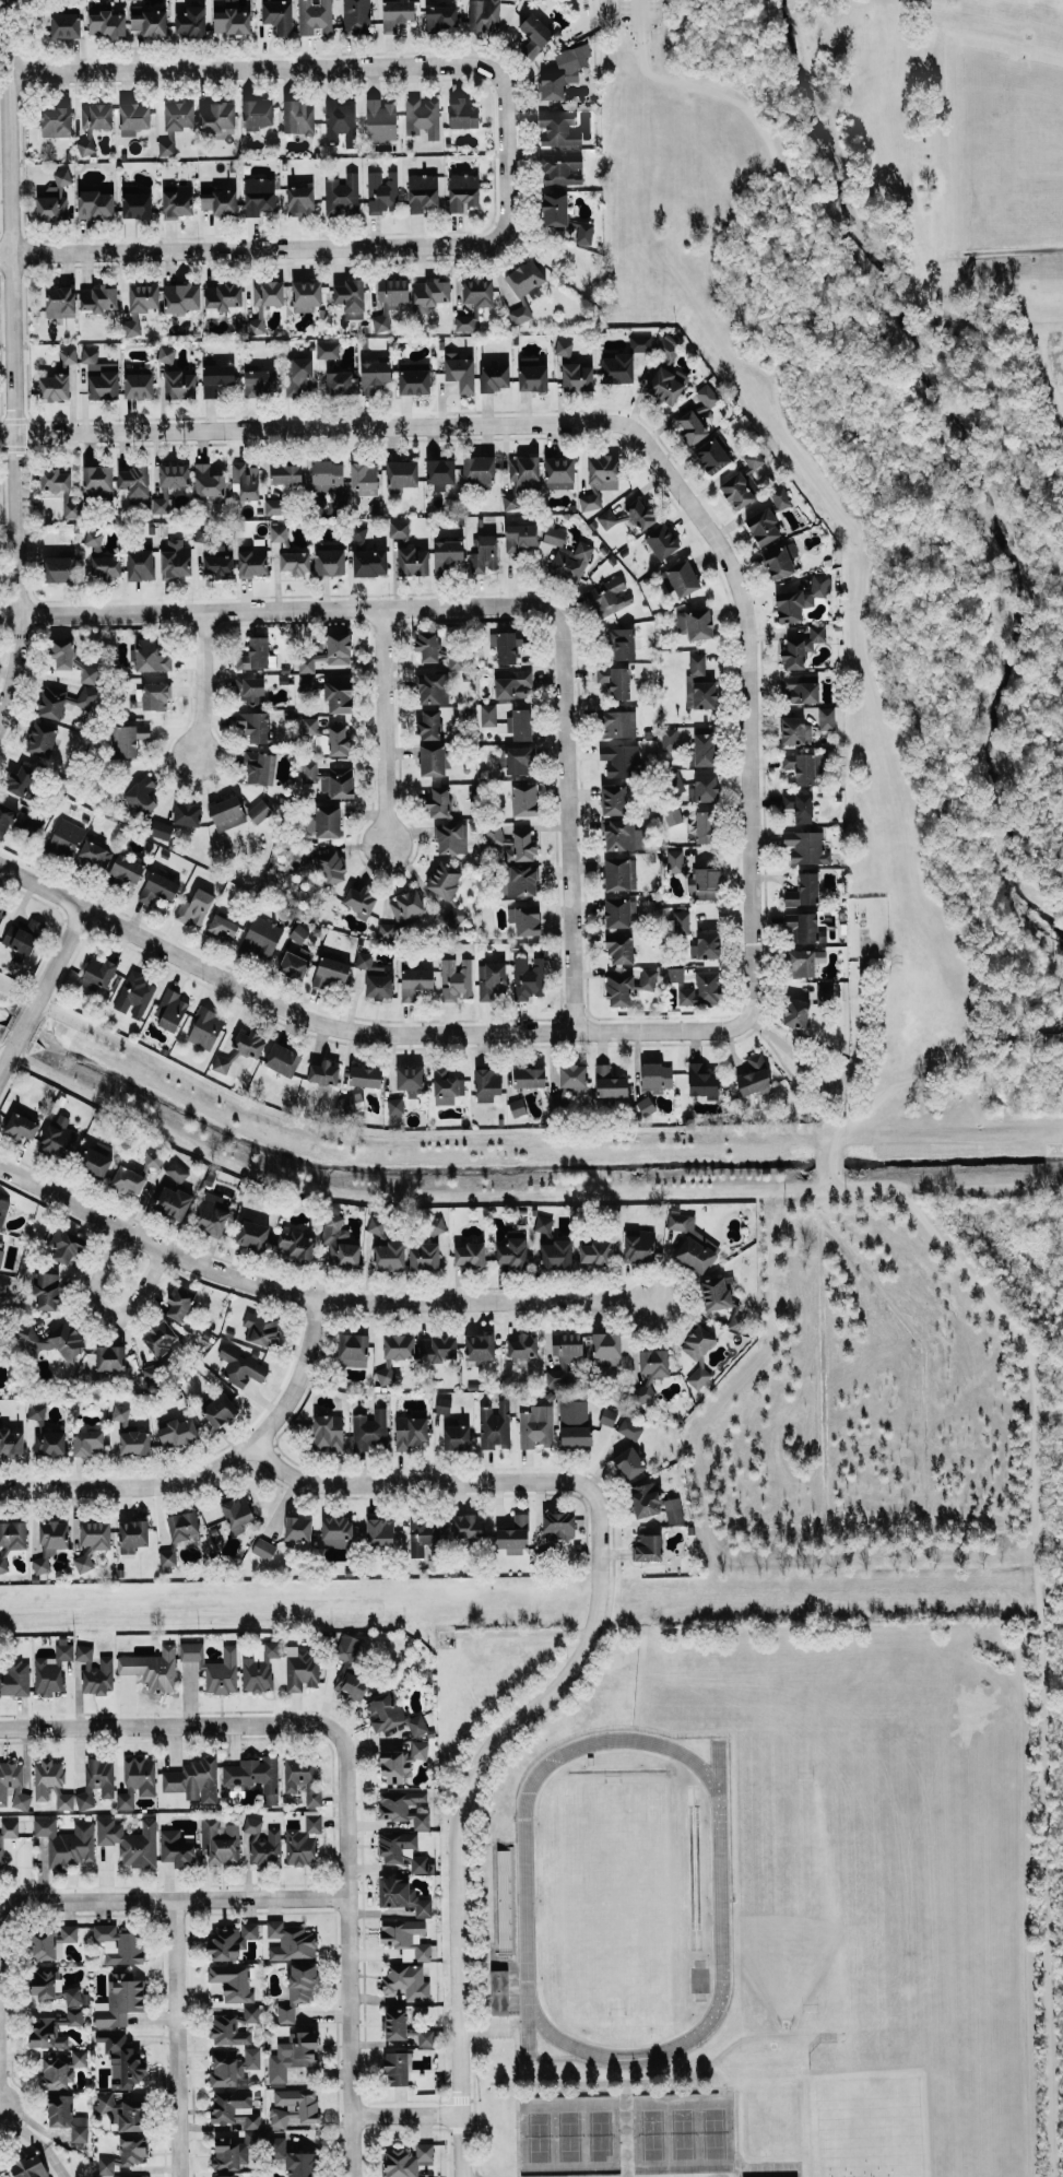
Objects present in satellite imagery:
parking lot: (637, 10)
road: (636, 11)
building: (397, 13)
building: (483, 14)
building: (277, 15)
building: (356, 15)
building: (314, 16)
building: (440, 17)
building: (231, 19)
building: (149, 21)
building: (191, 21)
building: (105, 23)
building: (64, 25)
building: (534, 35)
road: (331, 63)
building: (563, 74)
building: (462, 113)
building: (257, 114)
building: (216, 115)
building: (96, 116)
building: (298, 117)
building: (422, 117)
building: (133, 118)
building: (340, 120)
building: (380, 120)
building: (56, 121)
building: (175, 123)
building: (558, 128)
building: (85, 145)
building: (562, 168)
building: (462, 190)
building: (382, 191)
building: (422, 191)
building: (259, 195)
building: (342, 195)
building: (54, 199)
building: (176, 200)
building: (300, 200)
building: (218, 201)
building: (95, 203)
building: (137, 204)
road: (262, 248)
building: (524, 289)
building: (477, 291)
building: (430, 292)
building: (268, 293)
building: (306, 295)
building: (222, 297)
building: (351, 297)
building: (97, 298)
building: (181, 298)
building: (389, 299)
building: (59, 302)
building: (140, 304)
building: (257, 321)
building: (465, 321)
building: (640, 343)
building: (563, 348)
building: (664, 348)
building: (328, 350)
building: (166, 354)
building: (68, 355)
road: (17, 358)
building: (618, 368)
building: (460, 370)
building: (532, 374)
building: (300, 375)
building: (374, 375)
building: (101, 376)
building: (494, 376)
building: (577, 377)
building: (216, 378)
building: (259, 381)
building: (414, 381)
building: (340, 383)
building: (179, 384)
building: (665, 384)
building: (138, 385)
building: (54, 387)
building: (698, 415)
road: (311, 424)
building: (712, 456)
river: (969, 462)
building: (479, 470)
building: (440, 472)
building: (558, 472)
building: (285, 473)
building: (402, 473)
building: (174, 474)
building: (327, 475)
building: (364, 478)
building: (520, 479)
building: (600, 479)
road: (870, 479)
building: (245, 480)
building: (134, 481)
building: (208, 481)
building: (97, 482)
building: (59, 489)
building: (739, 490)
building: (780, 497)
building: (163, 502)
building: (273, 506)
building: (629, 516)
building: (763, 527)
building: (399, 529)
building: (358, 532)
road: (979, 532)
building: (279, 533)
building: (520, 537)
building: (661, 541)
building: (447, 554)
building: (484, 554)
building: (567, 555)
building: (102, 557)
building: (175, 558)
building: (220, 561)
building: (252, 561)
building: (413, 561)
building: (295, 562)
building: (330, 562)
building: (369, 562)
building: (140, 564)
building: (59, 568)
building: (681, 578)
building: (607, 596)
building: (800, 599)
road: (292, 608)
building: (695, 623)
building: (622, 644)
building: (427, 645)
building: (504, 646)
building: (62, 652)
building: (328, 652)
building: (255, 654)
building: (150, 656)
building: (456, 660)
building: (88, 674)
building: (614, 681)
building: (307, 682)
building: (512, 683)
building: (699, 683)
road: (203, 684)
building: (250, 689)
building: (432, 689)
building: (799, 689)
building: (155, 695)
building: (339, 695)
road: (747, 695)
building: (86, 697)
building: (51, 703)
building: (487, 714)
building: (826, 718)
building: (617, 722)
building: (310, 723)
road: (386, 723)
building: (429, 723)
building: (520, 723)
building: (255, 725)
building: (794, 728)
building: (42, 739)
building: (130, 739)
building: (669, 739)
building: (338, 740)
building: (704, 749)
building: (432, 760)
building: (519, 760)
building: (621, 760)
building: (259, 766)
building: (804, 766)
building: (21, 779)
building: (330, 779)
building: (704, 788)
building: (142, 795)
building: (523, 799)
building: (613, 799)
building: (438, 801)
building: (800, 805)
building: (259, 811)
building: (187, 813)
building: (226, 813)
road: (567, 815)
building: (672, 816)
building: (5, 817)
building: (324, 822)
building: (705, 826)
building: (162, 829)
building: (623, 835)
building: (64, 837)
building: (451, 837)
building: (515, 844)
building: (806, 847)
building: (93, 856)
building: (297, 858)
building: (675, 859)
building: (330, 867)
building: (127, 870)
building: (619, 873)
building: (445, 879)
building: (517, 881)
building: (705, 883)
building: (158, 887)
building: (803, 891)
building: (361, 901)
building: (194, 907)
building: (618, 911)
building: (402, 913)
building: (1, 914)
building: (524, 919)
building: (681, 921)
building: (801, 927)
building: (222, 929)
building: (261, 938)
building: (22, 939)
building: (706, 945)
building: (619, 949)
road: (58, 956)
building: (803, 962)
building: (295, 963)
building: (97, 972)
building: (330, 972)
building: (675, 974)
building: (375, 977)
building: (528, 977)
building: (456, 978)
building: (492, 980)
building: (415, 981)
building: (626, 987)
building: (702, 990)
building: (824, 991)
building: (134, 995)
building: (172, 1010)
building: (795, 1012)
road: (23, 1024)
building: (205, 1028)
road: (355, 1029)
road: (979, 1032)
road: (1026, 1035)
building: (239, 1049)
road: (7, 1057)
building: (282, 1059)
building: (754, 1075)
building: (365, 1076)
building: (529, 1076)
building: (655, 1076)
building: (574, 1078)
road: (845, 1078)
building: (410, 1080)
building: (701, 1080)
building: (446, 1082)
building: (609, 1082)
building: (487, 1083)
road: (865, 1093)
building: (394, 1105)
building: (646, 1105)
building: (516, 1107)
building: (20, 1126)
building: (58, 1137)
building: (152, 1160)
building: (95, 1163)
building: (176, 1170)
building: (128, 1179)
road: (978, 1185)
building: (173, 1202)
building: (3, 1210)
building: (212, 1213)
building: (543, 1223)
building: (376, 1224)
building: (436, 1225)
building: (251, 1234)
building: (339, 1239)
building: (692, 1244)
building: (64, 1245)
building: (295, 1245)
building: (639, 1245)
building: (512, 1252)
building: (594, 1252)
building: (556, 1254)
building: (1, 1255)
building: (469, 1255)
building: (389, 1256)
building: (424, 1256)
building: (4, 1287)
building: (46, 1291)
building: (717, 1292)
road: (315, 1296)
building: (178, 1304)
road: (106, 1315)
building: (260, 1329)
building: (160, 1338)
building: (52, 1341)
building: (523, 1345)
building: (480, 1346)
building: (437, 1348)
building: (606, 1349)
building: (353, 1350)
building: (698, 1353)
building: (394, 1354)
building: (564, 1356)
building: (110, 1357)
building: (240, 1367)
building: (151, 1373)
building: (650, 1373)
building: (442, 1404)
building: (217, 1409)
building: (607, 1416)
building: (574, 1423)
building: (494, 1424)
building: (535, 1426)
building: (369, 1428)
building: (629, 1428)
building: (176, 1432)
building: (328, 1432)
building: (410, 1432)
building: (46, 1434)
building: (131, 1434)
building: (456, 1437)
building: (11, 1440)
building: (87, 1441)
building: (628, 1462)
road: (211, 1469)
building: (645, 1499)
building: (237, 1513)
building: (674, 1515)
road: (1036, 1516)
building: (558, 1525)
building: (182, 1526)
building: (466, 1527)
building: (297, 1528)
building: (336, 1531)
building: (379, 1531)
building: (13, 1534)
building: (95, 1534)
building: (132, 1534)
building: (512, 1534)
building: (423, 1537)
building: (50, 1542)
building: (648, 1546)
building: (263, 1548)
building: (167, 1557)
building: (83, 1562)
building: (3, 1564)
road: (521, 1632)
building: (214, 1667)
building: (259, 1667)
building: (152, 1668)
building: (302, 1668)
building: (350, 1668)
building: (51, 1669)
building: (94, 1671)
road: (570, 1672)
building: (15, 1678)
building: (383, 1713)
road: (169, 1722)
building: (416, 1725)
building: (418, 1749)
building: (391, 1765)
building: (255, 1775)
building: (46, 1777)
building: (302, 1777)
building: (194, 1779)
building: (96, 1780)
building: (137, 1780)
building: (13, 1785)
building: (64, 1801)
building: (404, 1807)
road: (346, 1812)
building: (10, 1828)
building: (303, 1838)
building: (130, 1840)
building: (220, 1840)
building: (67, 1841)
building: (263, 1843)
building: (176, 1848)
building: (402, 1850)
building: (0, 1857)
building: (401, 1895)
track: (524, 1897)
road: (174, 1899)
building: (405, 1938)
building: (49, 1941)
building: (232, 1941)
building: (291, 1941)
building: (119, 1944)
building: (45, 1981)
building: (232, 1981)
building: (406, 1981)
building: (297, 1990)
building: (498, 1991)
building: (75, 1997)
building: (120, 2000)
building: (251, 2013)
building: (395, 2023)
building: (52, 2028)
building: (228, 2029)
road: (352, 2035)
building: (426, 2037)
road: (177, 2038)
building: (292, 2055)
building: (79, 2057)
building: (121, 2059)
building: (234, 2068)
building: (395, 2068)
building: (56, 2071)
building: (293, 2106)
building: (235, 2108)
building: (122, 2111)
road: (406, 2113)
building: (67, 2116)
park: (682, 2132)
park: (568, 2134)
building: (235, 2151)
building: (125, 2154)
building: (294, 2158)
building: (408, 2160)
building: (29, 2167)
building: (129, 2176)
building: (224, 2176)

